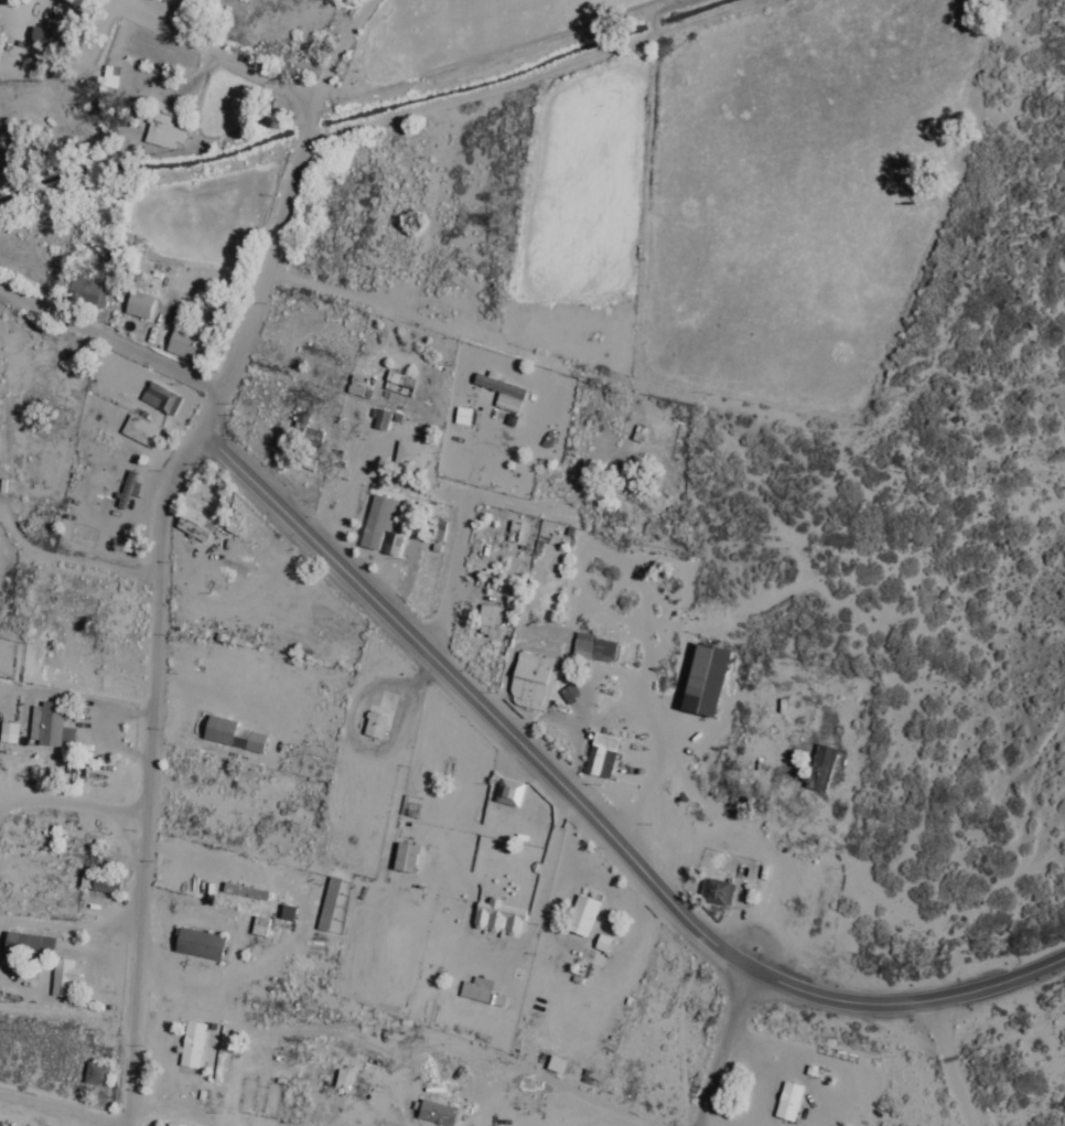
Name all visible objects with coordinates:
building: (162, 1)
building: (55, 40)
road: (226, 60)
building: (111, 76)
road: (538, 78)
building: (165, 127)
road: (282, 213)
building: (89, 291)
building: (142, 305)
road: (473, 334)
road: (109, 340)
building: (186, 344)
building: (509, 390)
building: (164, 399)
building: (384, 420)
building: (304, 421)
building: (142, 432)
building: (412, 453)
building: (379, 523)
building: (198, 526)
building: (439, 533)
building: (395, 544)
road: (449, 578)
building: (596, 650)
road: (422, 677)
building: (701, 682)
building: (535, 683)
building: (47, 725)
building: (378, 726)
building: (223, 732)
building: (10, 733)
road: (357, 742)
building: (604, 757)
building: (820, 770)
road: (148, 774)
building: (512, 794)
road: (72, 806)
road: (591, 819)
building: (409, 859)
building: (104, 884)
building: (718, 893)
building: (585, 916)
building: (501, 920)
building: (32, 945)
building: (204, 945)
building: (65, 978)
building: (472, 991)
building: (194, 1045)
road: (724, 1048)
road: (951, 1064)
building: (99, 1075)
building: (788, 1103)
road: (61, 1111)
building: (439, 1114)
building: (527, 1122)

